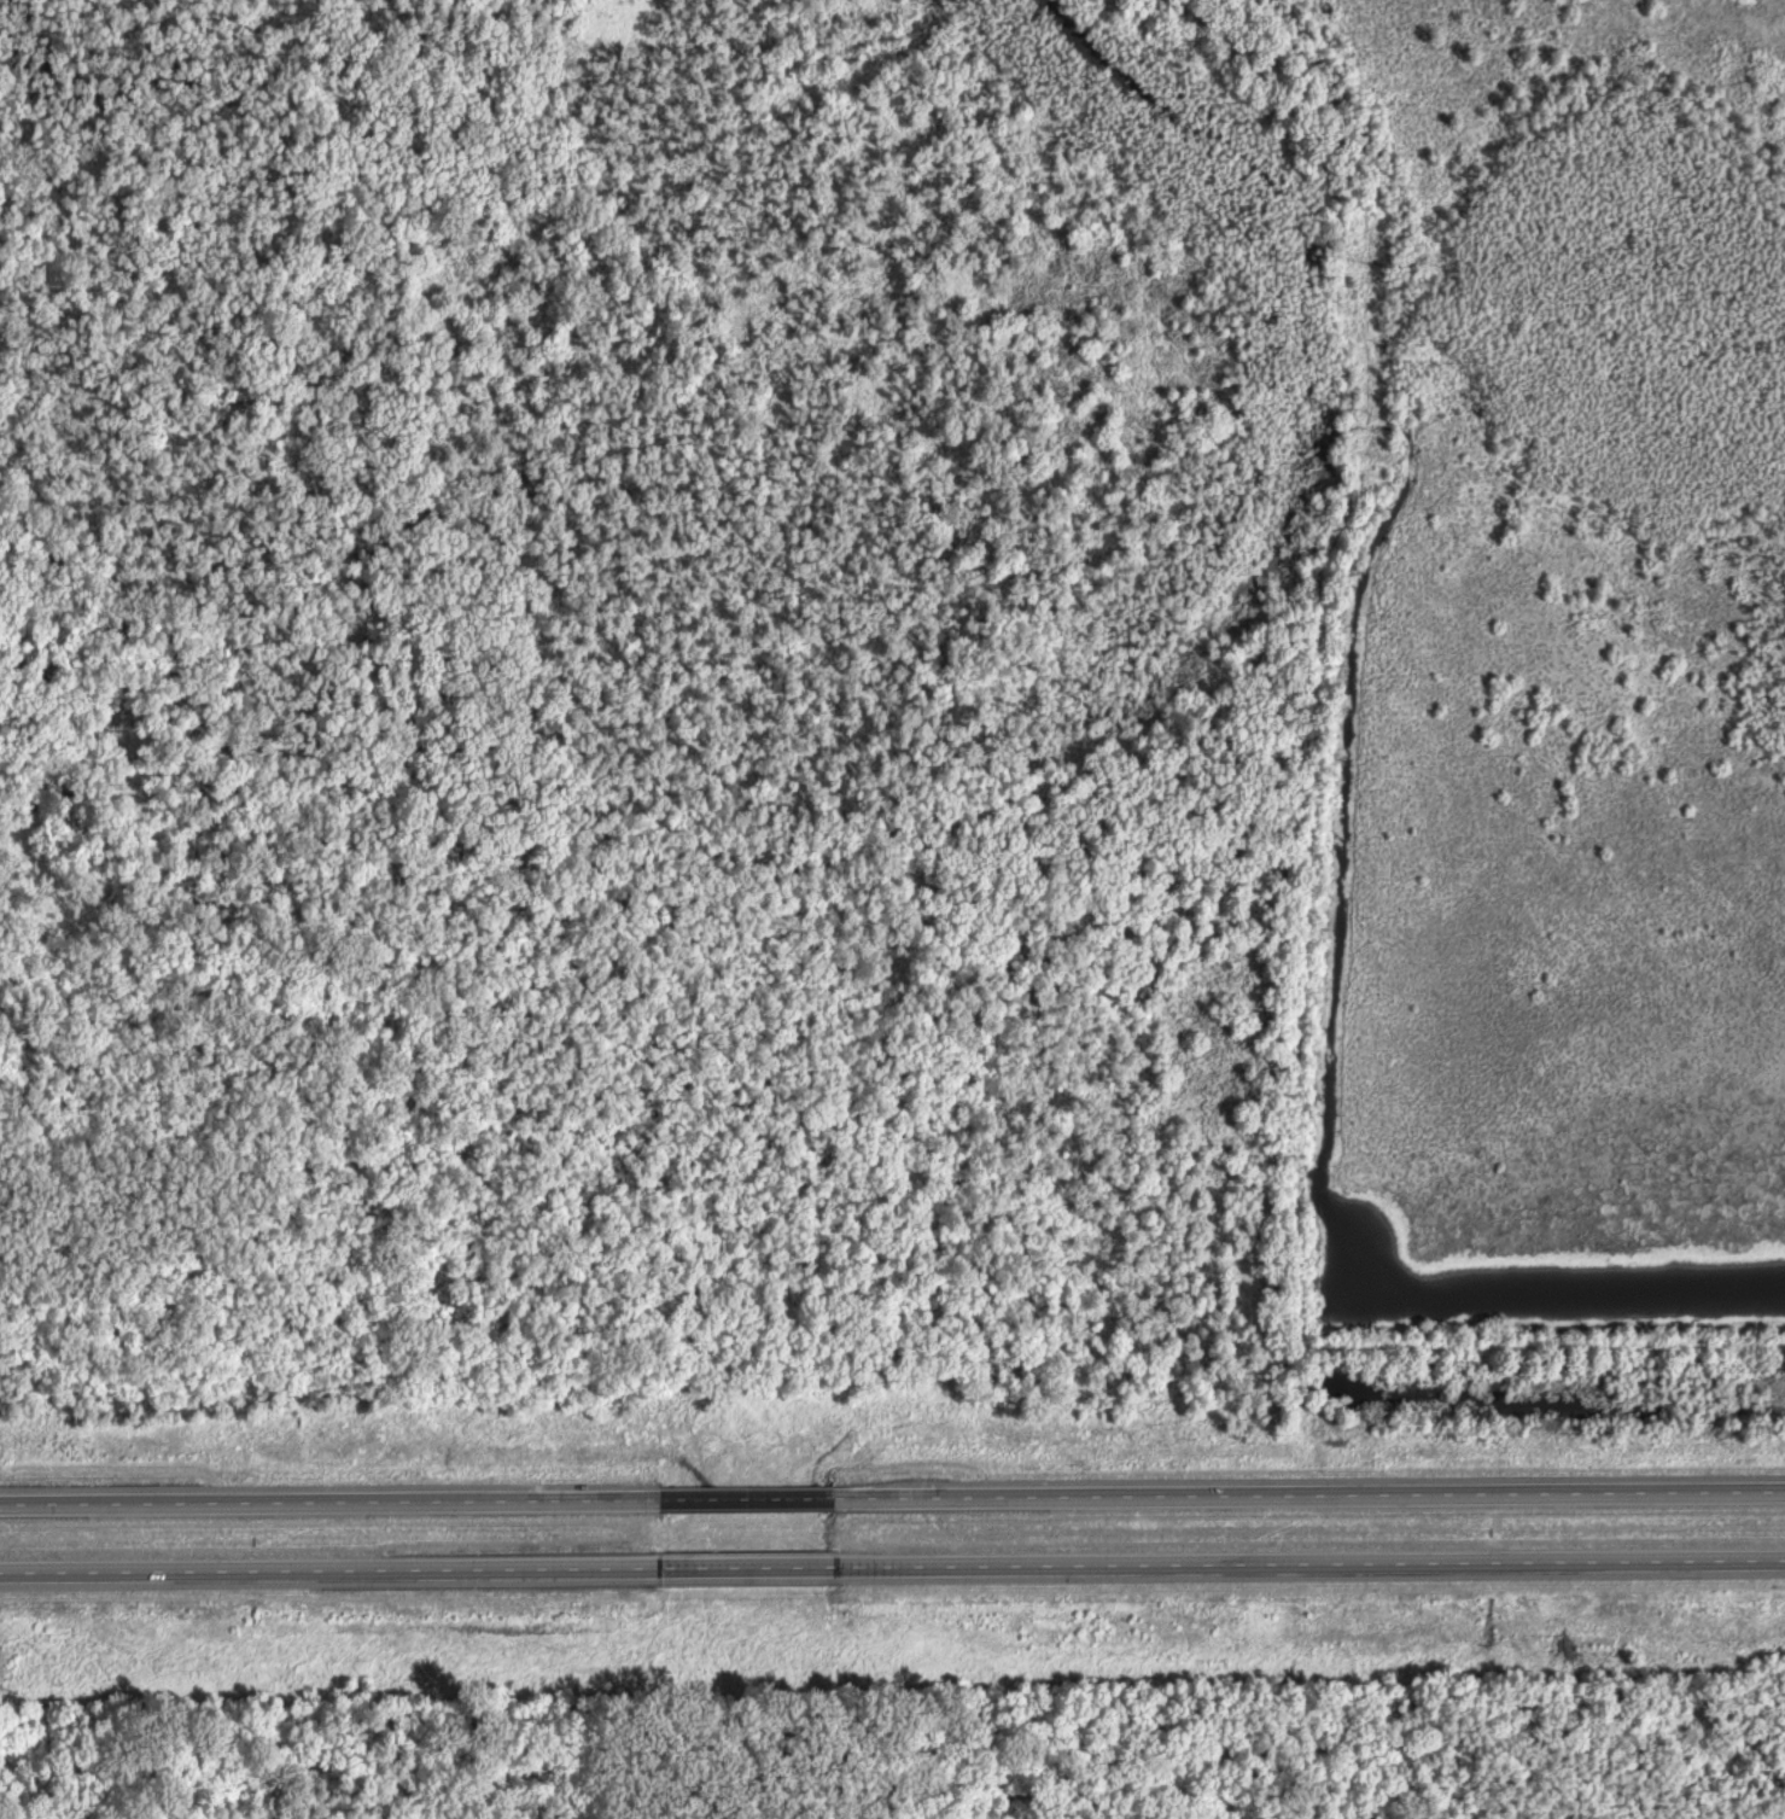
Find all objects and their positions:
crop: (1556, 635)
road: (1308, 1499)
road: (745, 1505)
road: (328, 1509)
road: (1311, 1566)
road: (747, 1569)
road: (328, 1573)
park: (1533, 1761)

